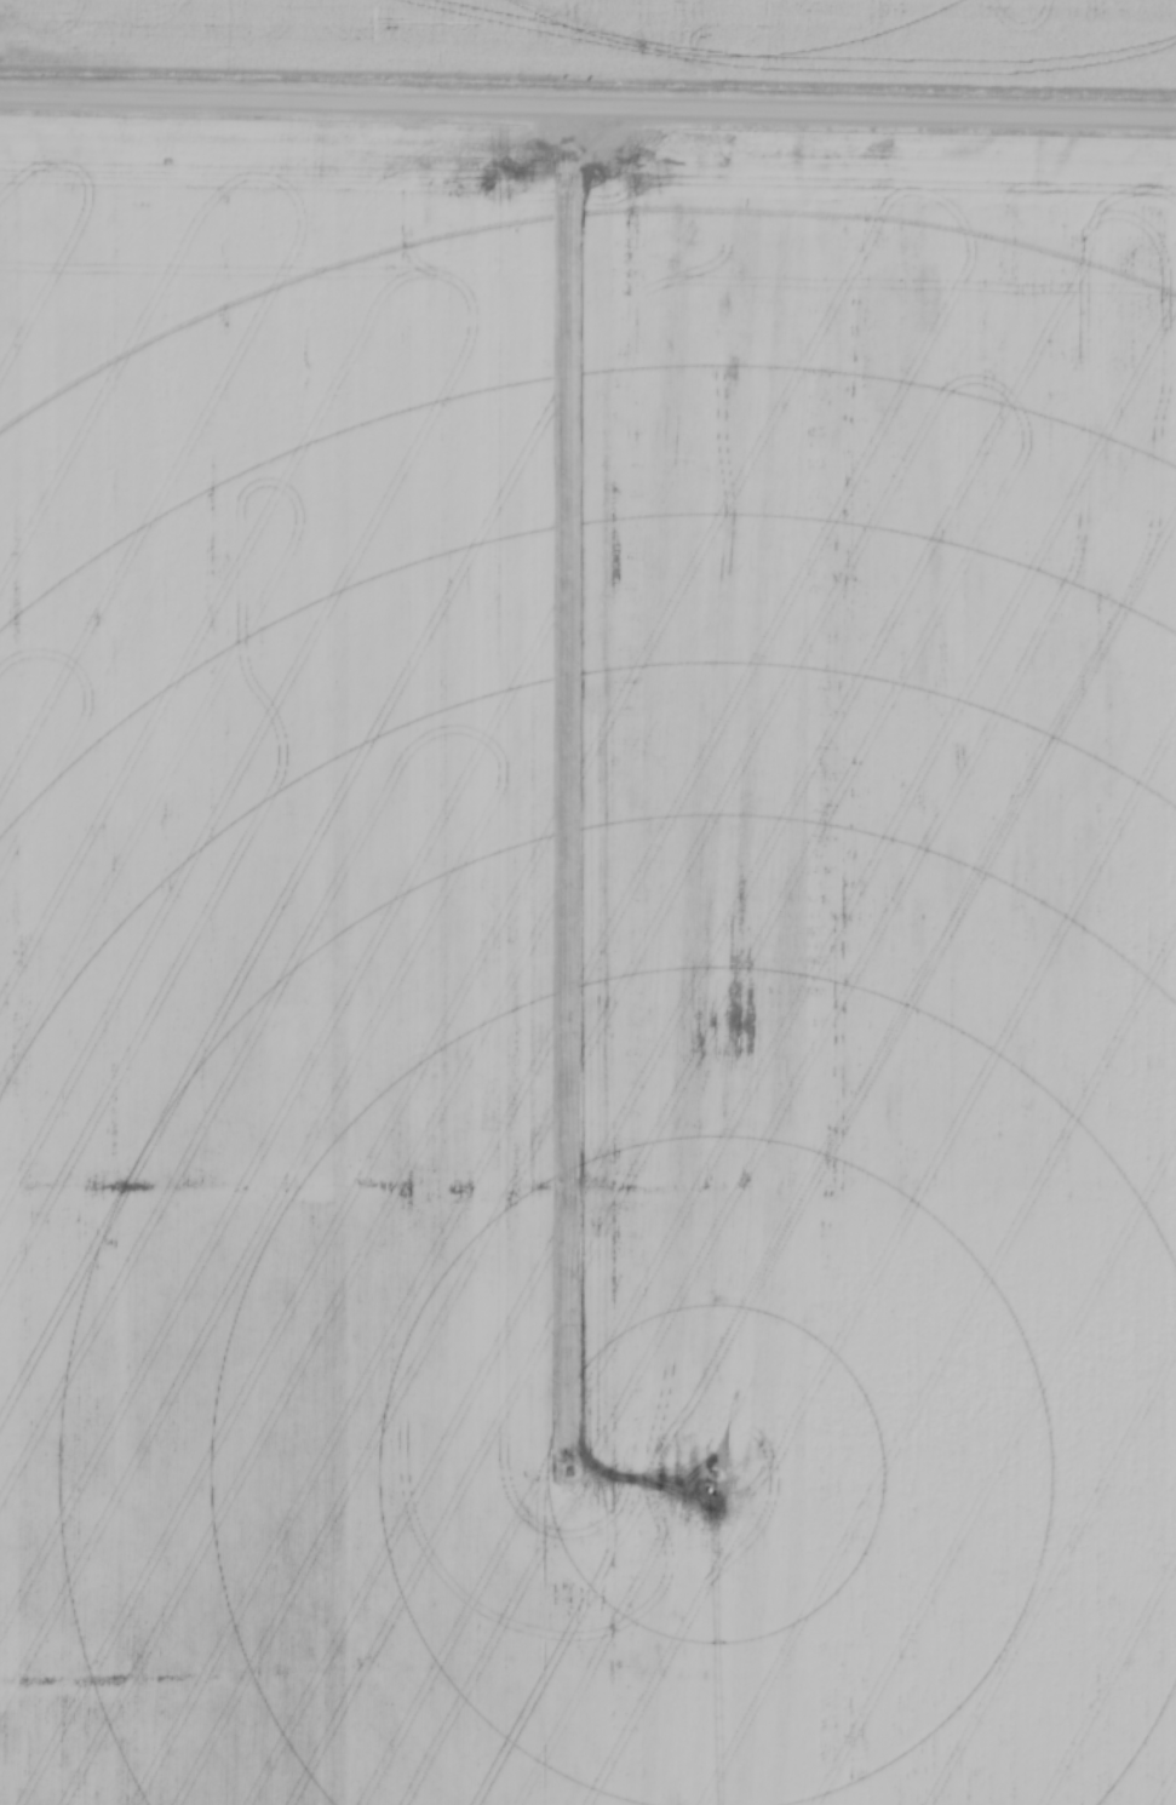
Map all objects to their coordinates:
road: (587, 109)

